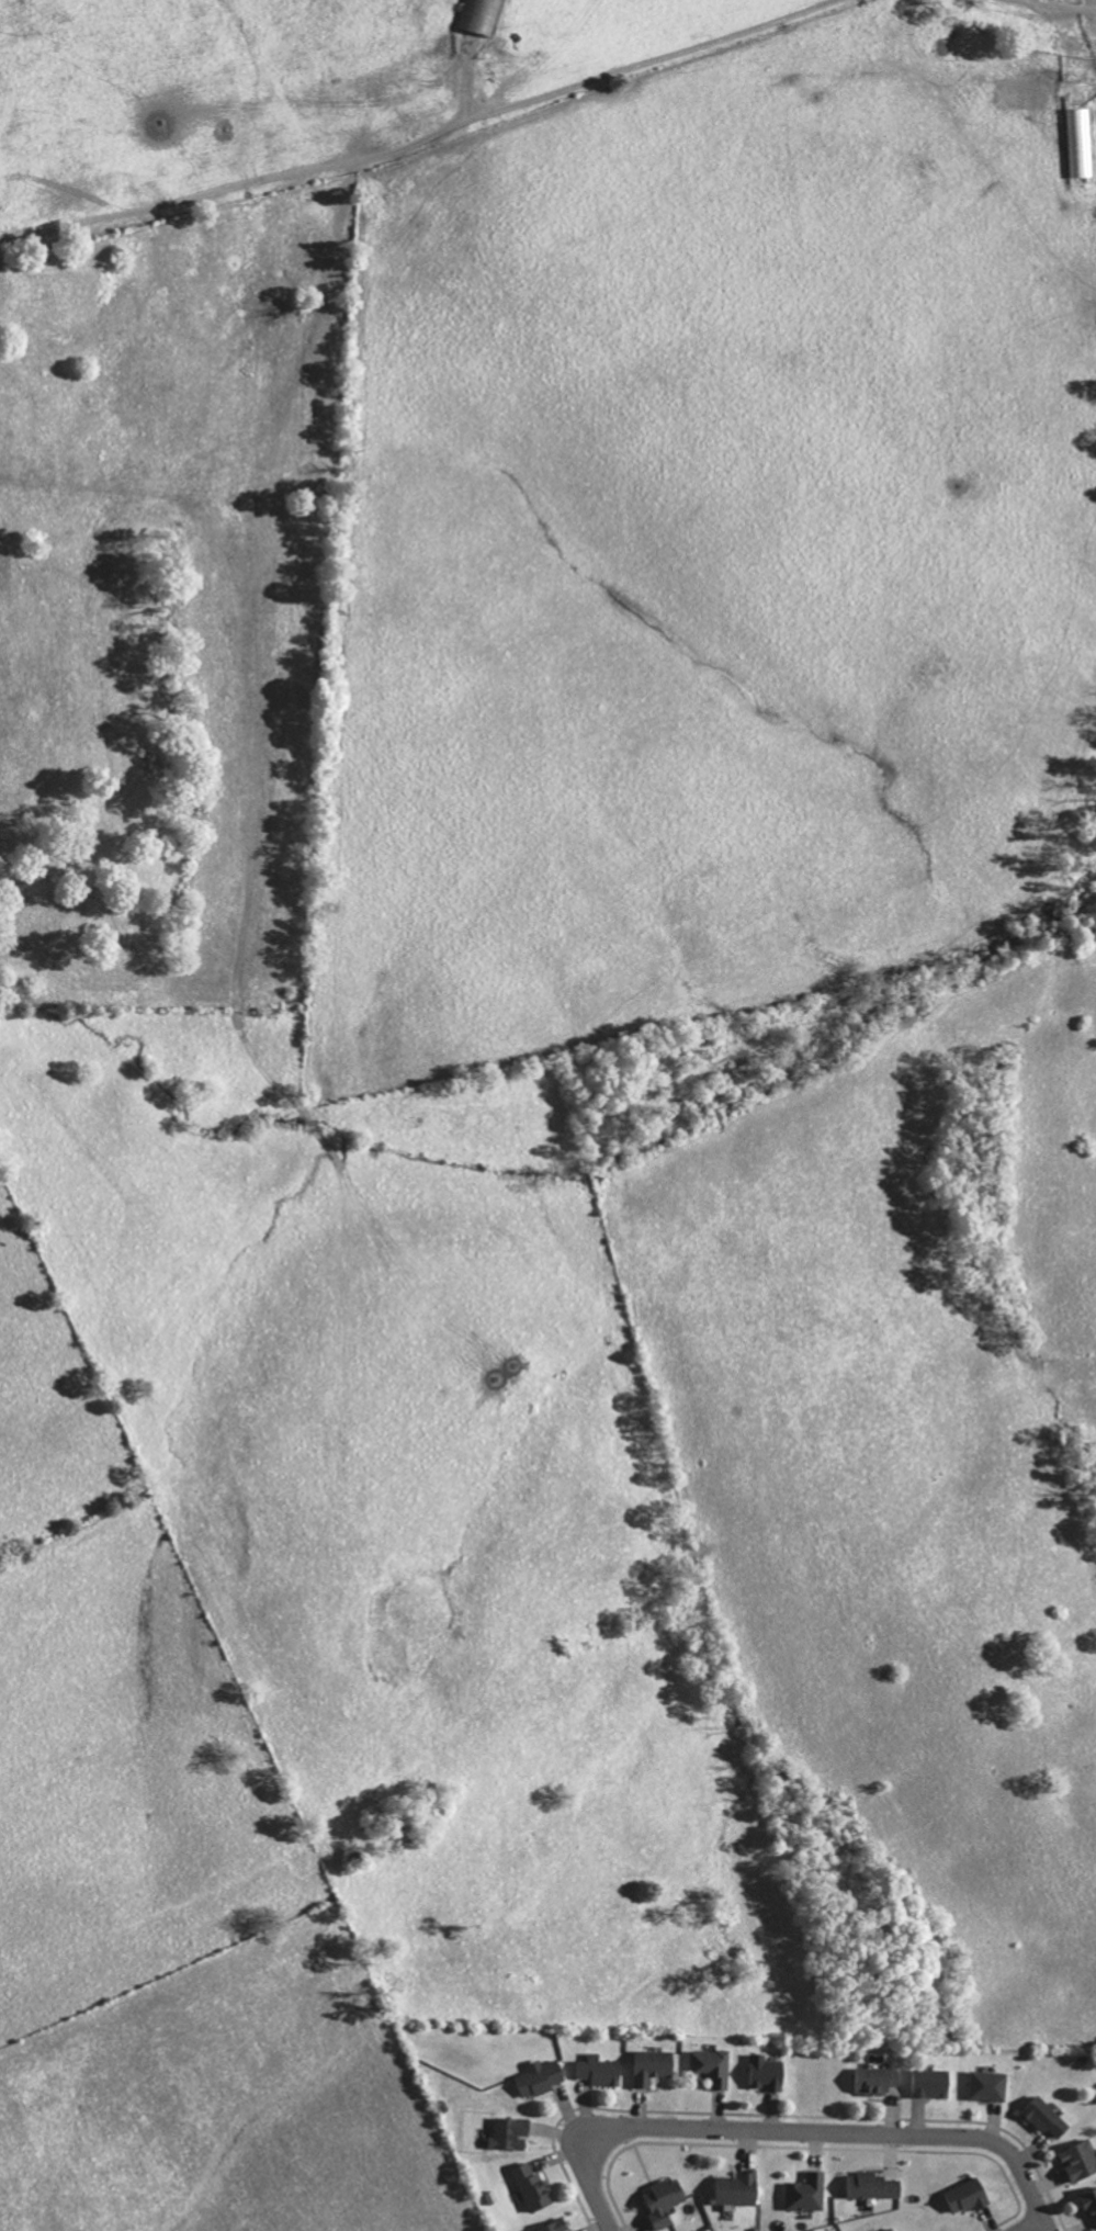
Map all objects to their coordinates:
road: (1061, 2)
road: (423, 128)
building: (713, 2064)
building: (654, 2065)
building: (601, 2070)
building: (768, 2072)
building: (540, 2076)
building: (875, 2078)
building: (931, 2082)
building: (990, 2085)
building: (1047, 2116)
building: (512, 2131)
road: (786, 2142)
building: (1080, 2160)
building: (534, 2187)
building: (739, 2188)
building: (809, 2191)
building: (970, 2195)
building: (1089, 2201)
road: (1026, 2224)
building: (556, 2226)
building: (891, 2229)

